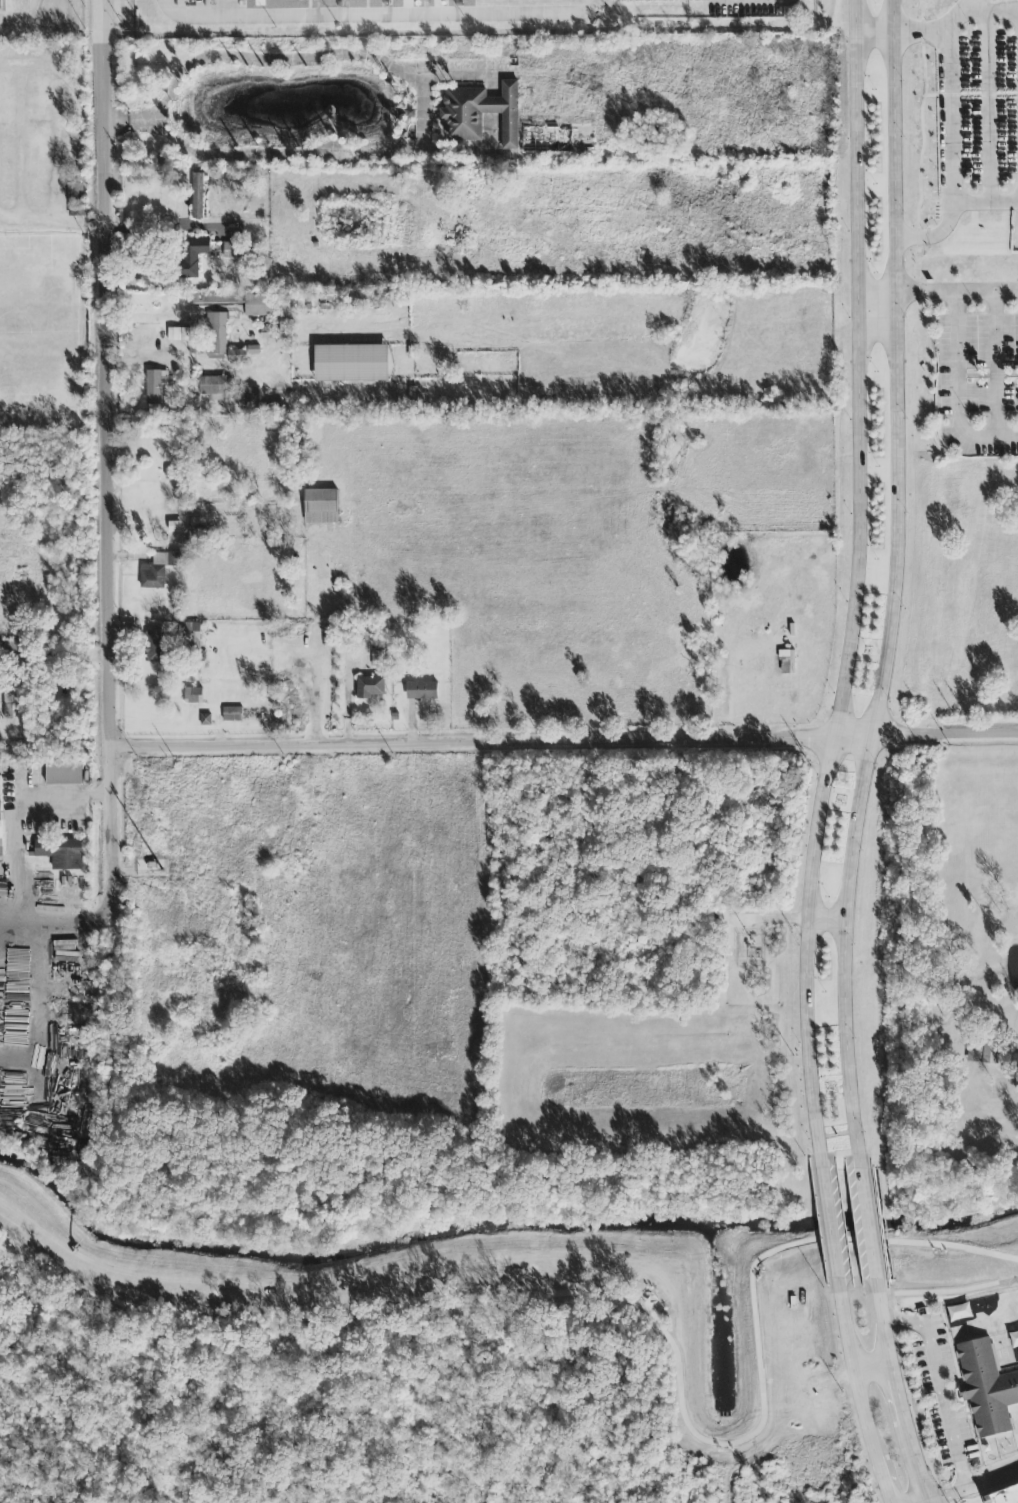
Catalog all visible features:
building: (436, 0)
building: (642, 0)
road: (716, 0)
road: (737, 0)
road: (766, 0)
road: (792, 0)
road: (755, 1)
building: (0, 5)
road: (1002, 12)
road: (379, 16)
road: (853, 16)
road: (960, 16)
road: (872, 32)
road: (988, 100)
building: (481, 113)
road: (54, 120)
road: (949, 132)
building: (558, 138)
road: (20, 142)
building: (198, 196)
building: (75, 200)
road: (985, 205)
road: (29, 220)
road: (79, 225)
building: (234, 249)
building: (189, 256)
road: (875, 292)
road: (956, 292)
building: (353, 300)
building: (374, 302)
building: (236, 303)
building: (216, 334)
building: (177, 335)
building: (241, 354)
building: (351, 363)
road: (995, 365)
building: (157, 386)
building: (213, 388)
road: (957, 390)
building: (251, 398)
building: (320, 507)
building: (158, 571)
road: (894, 578)
road: (854, 596)
road: (105, 604)
building: (157, 648)
road: (53, 657)
building: (377, 659)
building: (370, 687)
building: (421, 691)
building: (193, 696)
building: (8, 704)
building: (232, 714)
road: (509, 740)
building: (63, 772)
building: (0, 833)
building: (61, 853)
road: (12, 862)
road: (767, 919)
road: (824, 919)
road: (866, 1224)
road: (829, 1225)
river: (504, 1229)
road: (957, 1292)
road: (879, 1309)
road: (902, 1320)
road: (884, 1341)
road: (870, 1363)
park: (420, 1366)
road: (854, 1370)
building: (986, 1388)
road: (944, 1406)
road: (905, 1431)
road: (880, 1474)
road: (972, 1487)
building: (1003, 1495)
road: (925, 1502)
road: (927, 1502)

